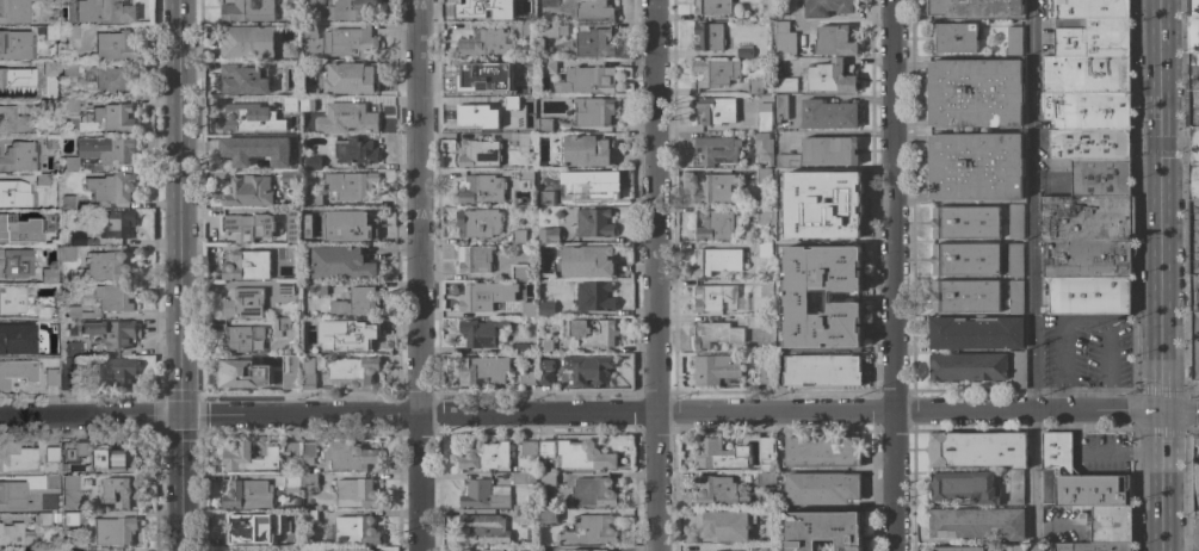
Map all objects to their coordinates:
building: (58, 0)
building: (292, 1)
building: (766, 2)
building: (548, 4)
building: (713, 6)
building: (780, 6)
building: (827, 7)
building: (975, 7)
building: (1193, 7)
building: (351, 10)
building: (594, 10)
building: (1087, 10)
building: (13, 11)
building: (104, 11)
building: (248, 11)
building: (481, 11)
building: (761, 13)
building: (285, 30)
building: (548, 30)
building: (72, 31)
building: (309, 31)
building: (525, 31)
building: (51, 32)
building: (1193, 33)
building: (707, 37)
building: (1092, 37)
building: (783, 38)
building: (953, 38)
building: (348, 41)
building: (834, 41)
building: (1014, 41)
building: (247, 43)
building: (593, 43)
building: (17, 44)
building: (484, 44)
building: (115, 45)
building: (289, 50)
building: (743, 51)
building: (548, 66)
building: (278, 67)
building: (51, 68)
building: (69, 68)
building: (717, 72)
building: (1191, 72)
building: (521, 73)
building: (1087, 74)
building: (830, 76)
building: (351, 78)
building: (111, 80)
building: (480, 80)
building: (586, 80)
building: (13, 81)
building: (239, 82)
building: (784, 85)
building: (753, 86)
building: (975, 93)
building: (285, 103)
building: (310, 103)
building: (511, 103)
building: (47, 105)
building: (70, 105)
building: (780, 107)
building: (1191, 107)
building: (716, 110)
building: (1086, 110)
building: (593, 111)
building: (828, 114)
building: (111, 117)
building: (764, 117)
building: (237, 118)
building: (348, 118)
building: (481, 118)
building: (14, 120)
building: (544, 125)
building: (521, 141)
building: (52, 142)
building: (284, 142)
traffic signals: (1156, 143)
building: (1089, 144)
building: (1193, 144)
building: (716, 149)
building: (762, 149)
building: (352, 150)
building: (586, 150)
building: (829, 151)
building: (100, 153)
building: (245, 154)
building: (480, 154)
building: (17, 155)
building: (787, 160)
building: (311, 163)
building: (975, 167)
building: (765, 175)
building: (1095, 175)
building: (527, 177)
building: (289, 178)
building: (44, 179)
building: (781, 180)
building: (1193, 181)
building: (351, 185)
building: (599, 186)
building: (112, 187)
building: (828, 187)
building: (482, 188)
building: (715, 188)
building: (247, 191)
building: (23, 194)
building: (546, 198)
building: (313, 200)
building: (66, 202)
road: (1156, 205)
road: (179, 208)
building: (762, 216)
building: (780, 217)
building: (1087, 217)
building: (1016, 221)
building: (829, 222)
building: (965, 222)
building: (117, 223)
building: (477, 223)
building: (593, 223)
building: (717, 223)
building: (310, 225)
building: (350, 225)
building: (18, 228)
building: (265, 230)
building: (549, 235)
building: (518, 236)
building: (1192, 237)
building: (78, 239)
building: (68, 253)
building: (1087, 258)
building: (474, 259)
building: (765, 259)
building: (966, 259)
building: (1014, 259)
building: (829, 260)
building: (14, 261)
building: (587, 261)
building: (717, 261)
building: (341, 264)
building: (246, 265)
building: (780, 265)
building: (106, 267)
building: (519, 272)
building: (48, 274)
road: (419, 274)
road: (651, 275)
road: (891, 275)
road: (1032, 275)
building: (767, 286)
building: (319, 287)
building: (285, 289)
building: (783, 292)
building: (1193, 292)
building: (1090, 295)
building: (111, 296)
building: (484, 296)
building: (965, 296)
building: (593, 297)
building: (836, 297)
building: (1015, 297)
building: (718, 298)
building: (12, 299)
building: (357, 302)
building: (243, 303)
building: (527, 309)
building: (546, 309)
building: (72, 311)
building: (43, 312)
building: (753, 322)
road: (1083, 322)
building: (317, 323)
building: (285, 328)
building: (481, 332)
building: (591, 332)
building: (110, 333)
building: (827, 333)
building: (976, 333)
building: (716, 334)
building: (781, 334)
building: (18, 338)
building: (363, 338)
building: (245, 339)
building: (546, 346)
building: (1195, 346)
building: (72, 348)
building: (523, 348)
parking lot: (1087, 354)
building: (288, 364)
building: (969, 366)
building: (588, 369)
building: (482, 370)
building: (716, 370)
building: (822, 370)
building: (1018, 370)
building: (352, 371)
building: (17, 372)
building: (117, 372)
building: (545, 372)
building: (67, 373)
building: (308, 373)
building: (51, 374)
building: (241, 374)
building: (765, 376)
building: (288, 377)
building: (526, 378)
road: (1107, 400)
road: (1062, 401)
road: (1132, 409)
road: (1090, 410)
traffic signals: (1158, 410)
road: (537, 411)
road: (977, 411)
road: (1068, 411)
road: (1178, 411)
road: (136, 416)
traffic signals: (183, 416)
road: (45, 417)
road: (1158, 429)
road: (1076, 432)
building: (527, 448)
building: (766, 450)
building: (977, 450)
building: (74, 451)
building: (291, 451)
building: (822, 451)
road: (1118, 451)
building: (308, 452)
building: (348, 454)
building: (577, 454)
building: (718, 454)
building: (486, 456)
building: (236, 457)
building: (24, 458)
building: (113, 458)
building: (1194, 472)
road: (183, 473)
road: (463, 475)
road: (605, 475)
building: (1080, 477)
building: (523, 478)
building: (309, 479)
building: (548, 479)
building: (765, 479)
building: (52, 481)
building: (70, 481)
building: (292, 481)
building: (963, 487)
building: (1015, 487)
building: (822, 488)
building: (119, 493)
building: (593, 493)
building: (718, 493)
building: (13, 494)
building: (248, 494)
building: (357, 494)
building: (482, 494)
road: (1158, 500)
building: (768, 502)
building: (548, 515)
building: (56, 516)
building: (308, 516)
building: (526, 516)
building: (70, 518)
building: (43, 519)
building: (977, 522)
building: (245, 525)
building: (723, 525)
building: (1108, 525)
building: (482, 530)
building: (591, 530)
building: (824, 530)
building: (113, 531)
building: (353, 531)
building: (16, 534)
road: (1194, 535)
building: (280, 539)
road: (184, 540)
building: (1087, 546)
building: (606, 547)
building: (765, 547)
building: (1016, 547)
building: (549, 549)
building: (958, 549)
building: (76, 550)
building: (231, 550)
building: (350, 550)
building: (378, 550)
building: (484, 550)

